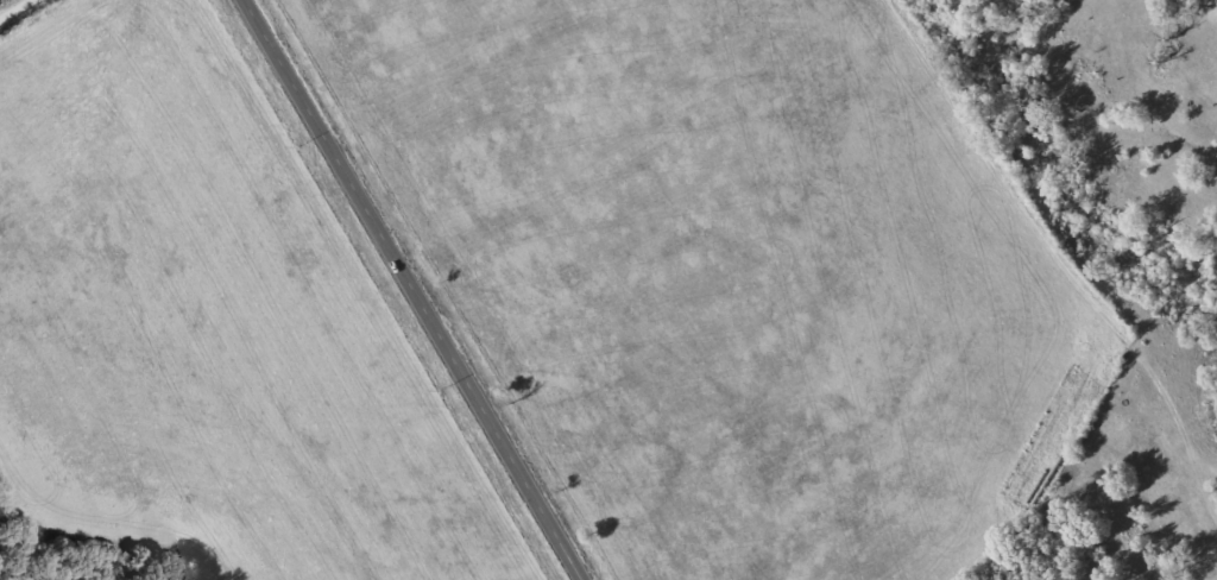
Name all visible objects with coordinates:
road: (23, 13)
road: (267, 15)
road: (434, 305)

